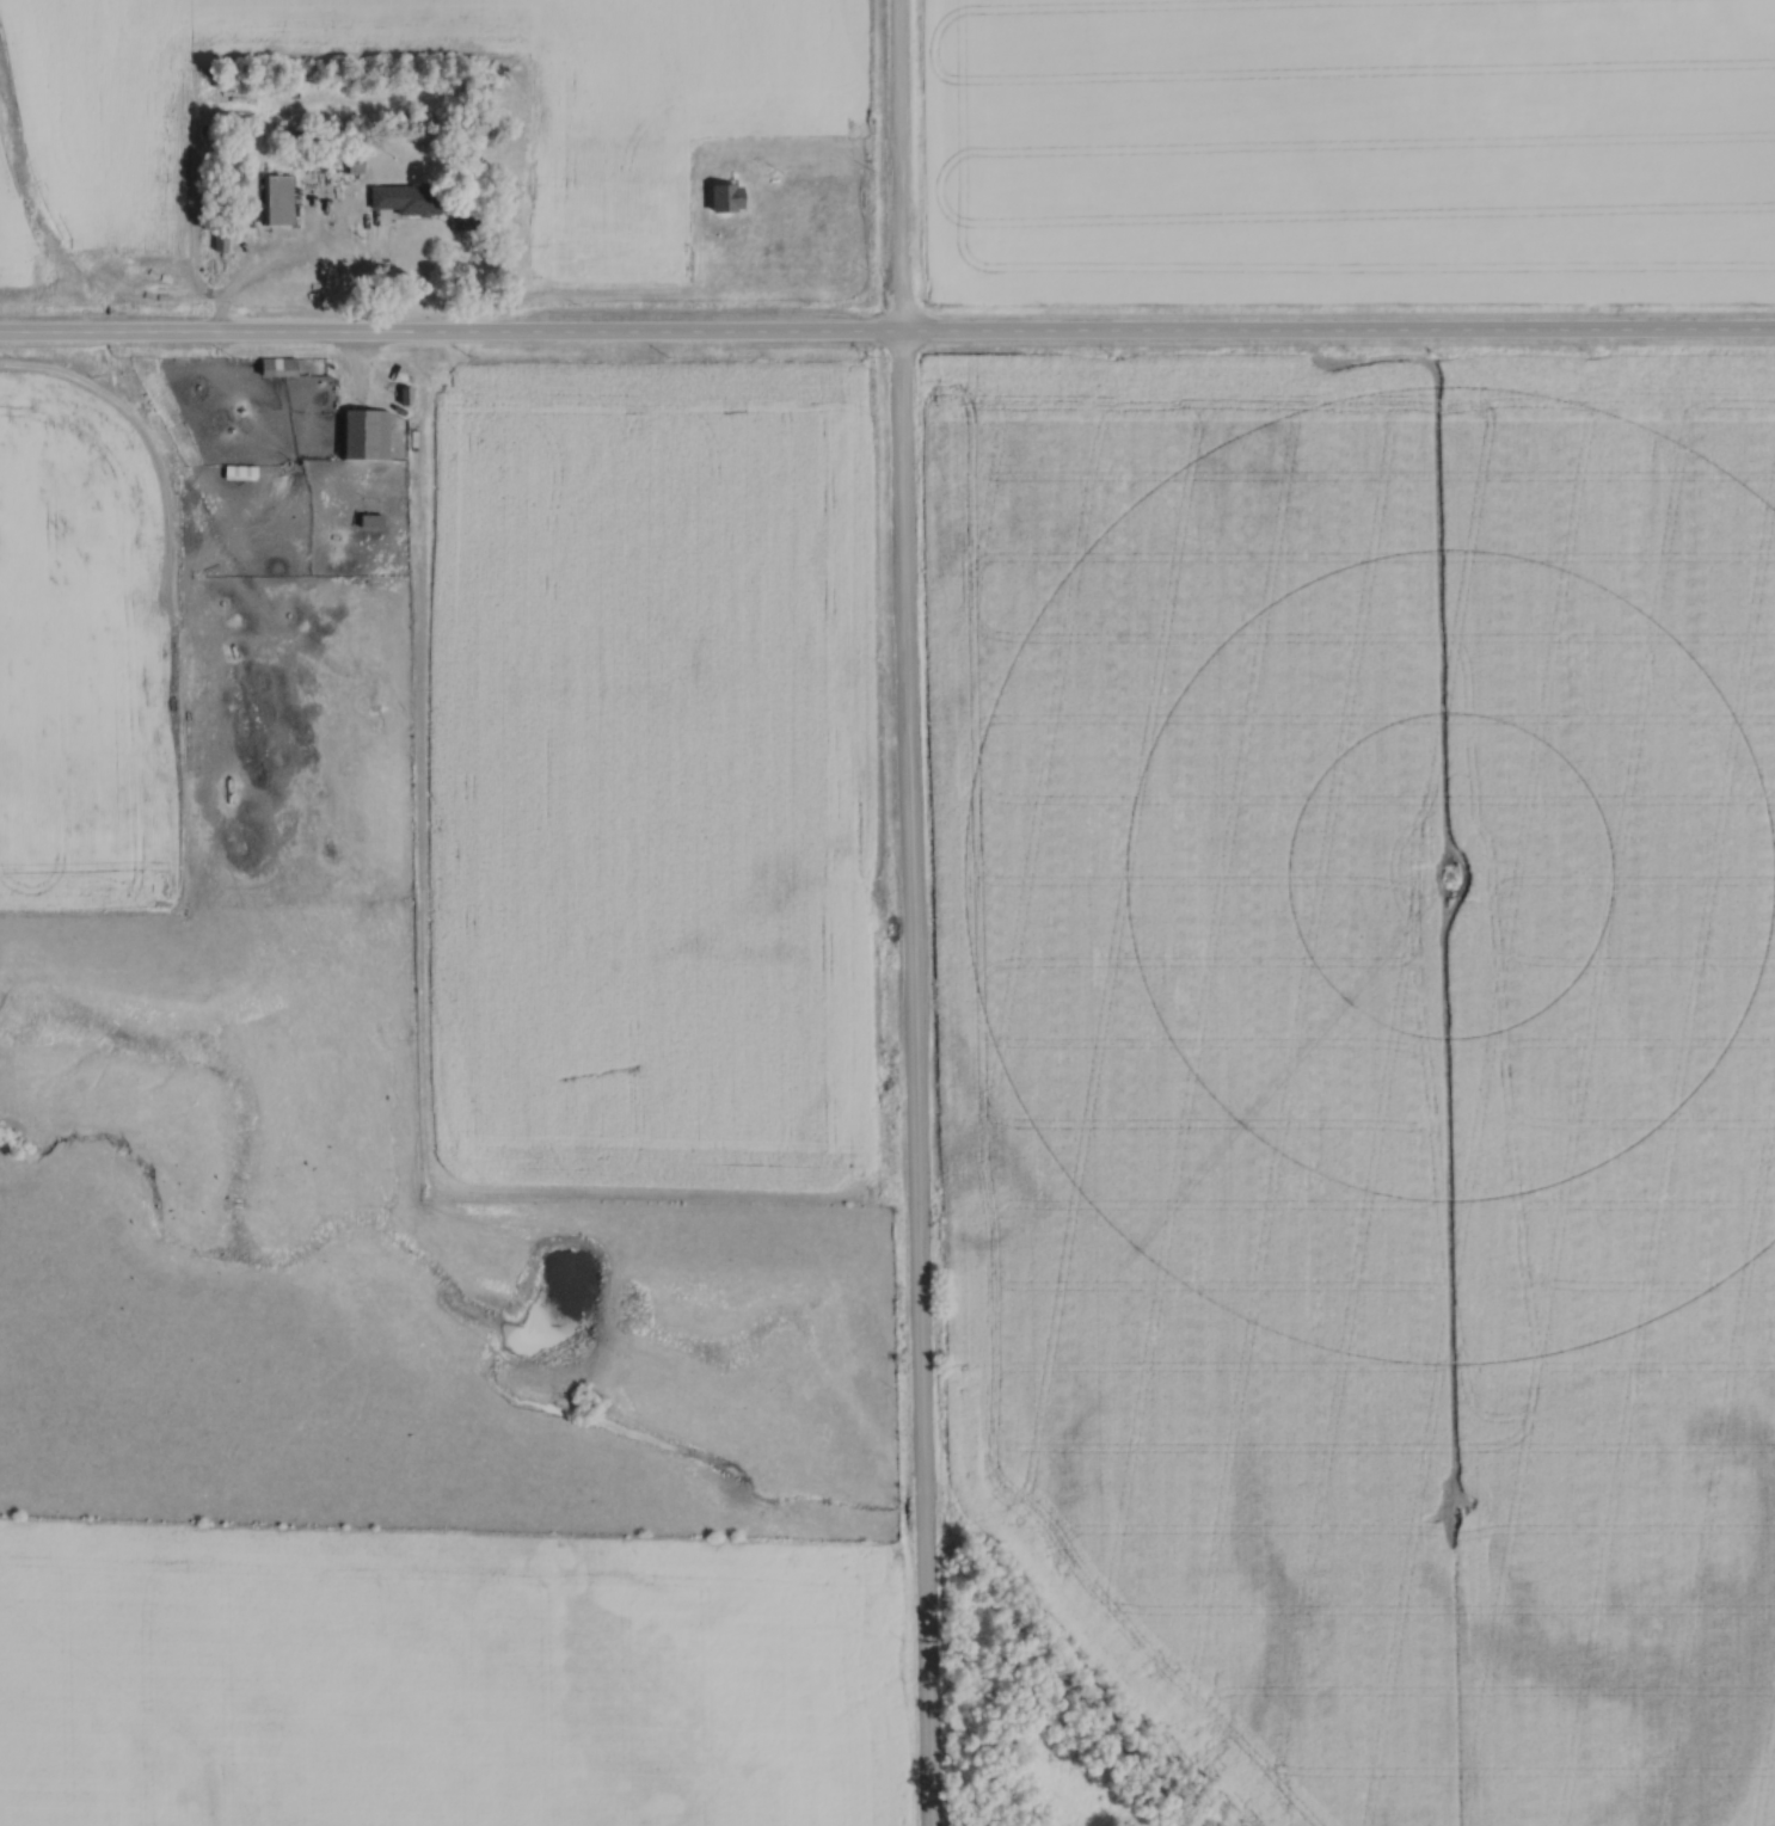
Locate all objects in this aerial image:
building: (735, 196)
building: (412, 197)
building: (283, 198)
building: (465, 221)
building: (226, 236)
road: (303, 246)
road: (886, 328)
building: (284, 365)
building: (374, 432)
building: (377, 519)
road: (914, 912)

